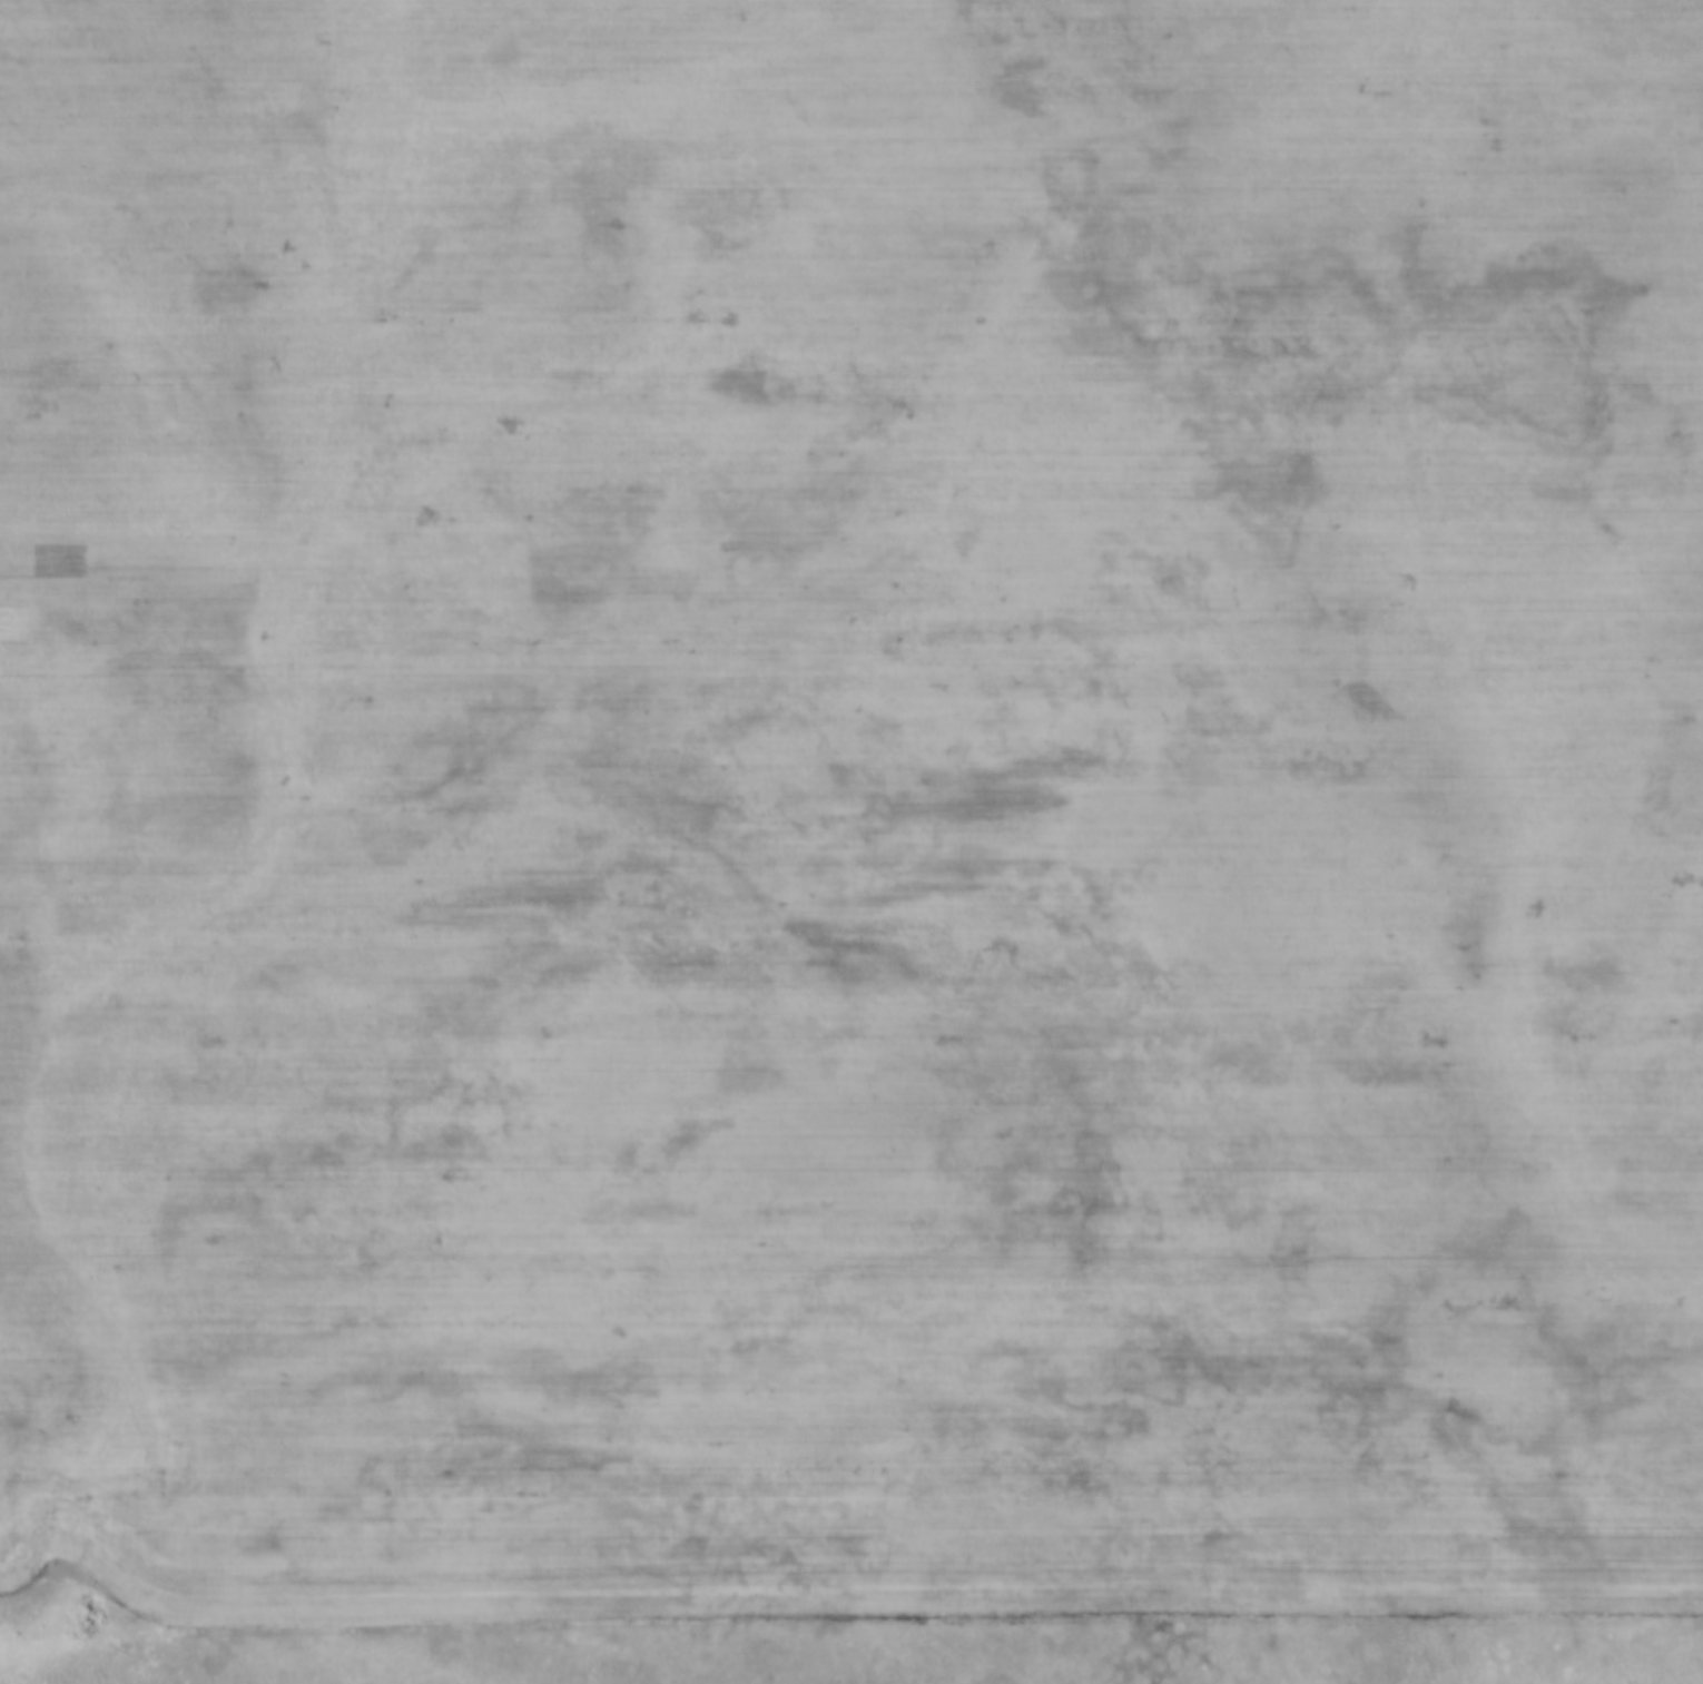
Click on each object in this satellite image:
road: (850, 1622)

